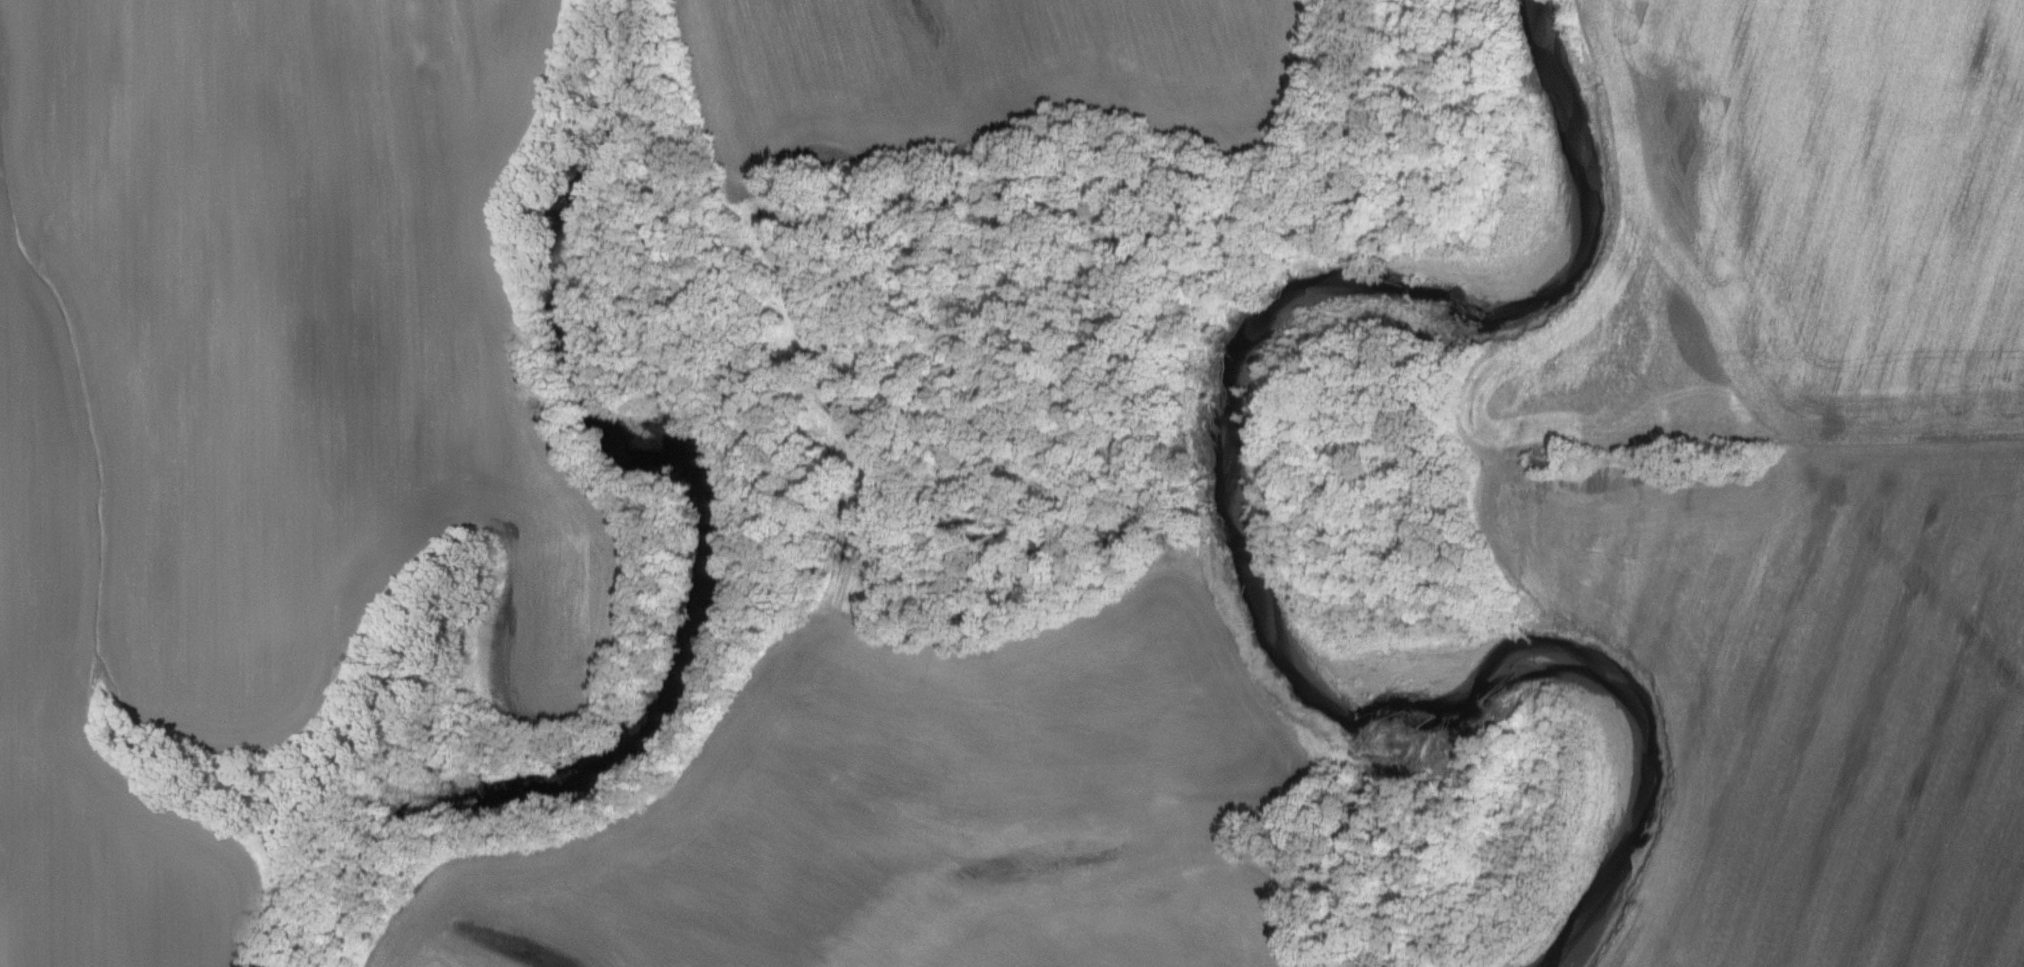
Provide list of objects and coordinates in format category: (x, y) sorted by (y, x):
river: (1236, 537)

